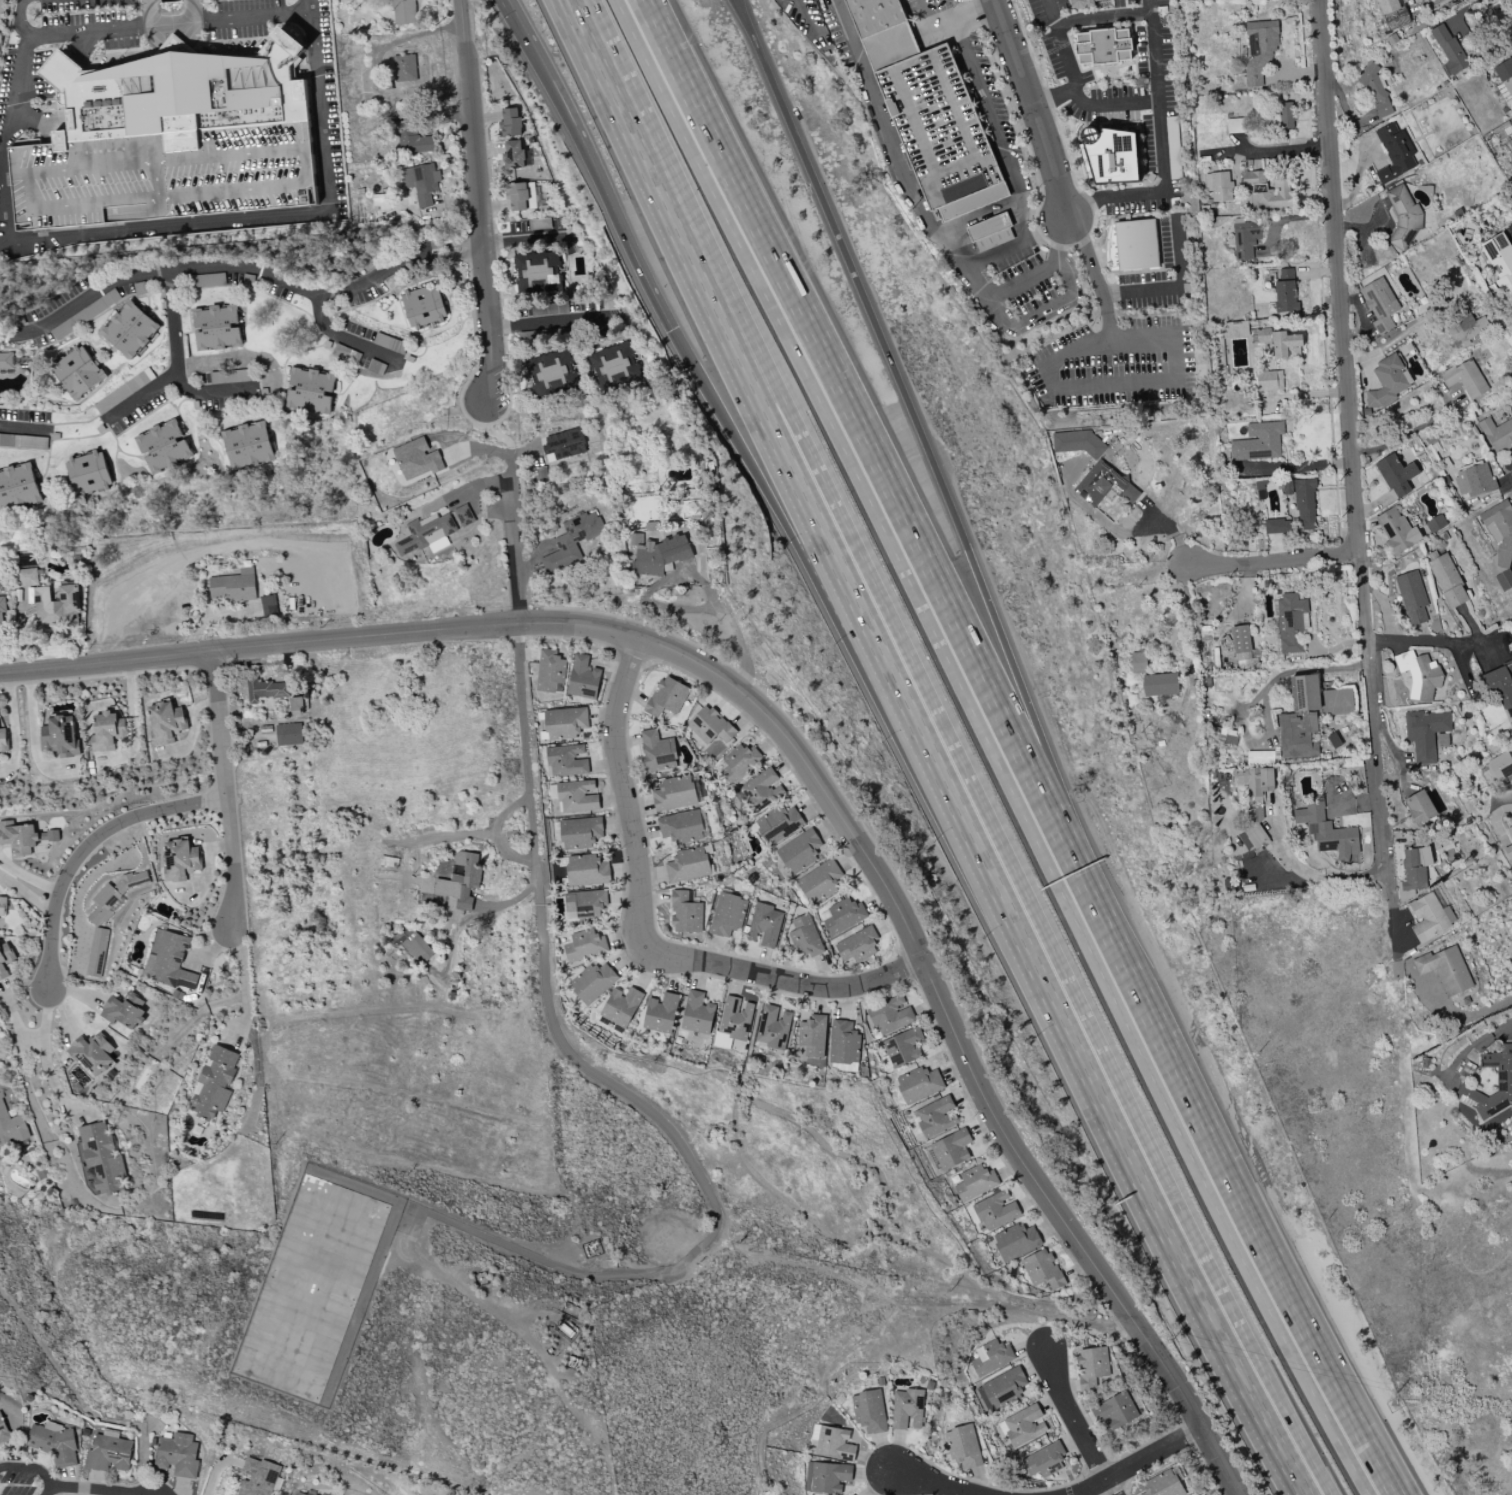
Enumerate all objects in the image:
building: (2, 2)
building: (1081, 3)
parking lot: (74, 4)
road: (307, 7)
road: (498, 8)
building: (403, 11)
road: (950, 11)
building: (1496, 11)
road: (1458, 13)
road: (804, 14)
road: (927, 15)
road: (1100, 15)
road: (18, 19)
road: (190, 22)
road: (150, 23)
road: (940, 27)
building: (879, 32)
building: (1508, 34)
road: (411, 36)
road: (172, 45)
building: (1101, 46)
building: (172, 47)
building: (941, 49)
building: (1258, 50)
building: (1447, 50)
road: (1151, 51)
road: (313, 68)
building: (403, 68)
building: (1504, 75)
road: (1073, 86)
building: (1374, 91)
building: (179, 93)
road: (1050, 94)
road: (1030, 110)
building: (1282, 116)
road: (36, 121)
building: (510, 122)
building: (410, 138)
building: (1393, 153)
building: (514, 155)
building: (1110, 156)
road: (587, 172)
building: (161, 177)
parking lot: (161, 177)
building: (420, 182)
building: (1217, 186)
building: (1266, 190)
road: (1154, 195)
building: (516, 196)
building: (959, 202)
building: (436, 205)
road: (477, 206)
road: (438, 207)
building: (1403, 216)
building: (989, 232)
building: (1243, 238)
road: (520, 239)
building: (1135, 244)
road: (1178, 255)
road: (984, 258)
building: (1499, 259)
road: (239, 266)
road: (1091, 267)
building: (537, 272)
road: (1021, 279)
building: (207, 280)
road: (1140, 291)
building: (1284, 291)
building: (1378, 304)
building: (422, 305)
road: (1041, 309)
building: (84, 314)
road: (550, 322)
building: (216, 327)
building: (1464, 327)
building: (128, 329)
building: (1233, 329)
road: (341, 336)
road: (1394, 338)
building: (1278, 341)
road: (1076, 353)
building: (5, 360)
road: (173, 362)
building: (612, 366)
building: (76, 371)
building: (550, 373)
building: (231, 376)
building: (1464, 378)
road: (1171, 380)
building: (1268, 380)
road: (749, 381)
building: (1386, 382)
building: (123, 390)
building: (309, 391)
road: (212, 392)
road: (904, 398)
road: (857, 401)
road: (22, 428)
building: (1496, 433)
road: (498, 435)
road: (1405, 435)
building: (22, 441)
building: (1074, 442)
building: (1257, 442)
building: (563, 444)
building: (162, 446)
building: (247, 446)
building: (416, 459)
road: (1292, 464)
road: (1351, 469)
building: (88, 474)
building: (1395, 475)
building: (1472, 480)
building: (1103, 485)
building: (17, 487)
building: (1301, 501)
building: (1434, 523)
building: (1273, 525)
building: (433, 531)
building: (1396, 531)
building: (1499, 532)
road: (512, 538)
building: (635, 539)
building: (571, 540)
road: (800, 548)
building: (659, 554)
road: (184, 558)
road: (1270, 561)
building: (1442, 571)
building: (25, 577)
building: (1503, 580)
building: (232, 586)
building: (1453, 596)
building: (1411, 597)
building: (267, 604)
building: (56, 606)
building: (1, 612)
building: (1290, 622)
road: (318, 640)
road: (1431, 641)
building: (1240, 645)
building: (1137, 662)
building: (549, 672)
building: (1418, 674)
building: (582, 678)
building: (1159, 684)
building: (1500, 685)
building: (265, 690)
building: (666, 697)
building: (295, 705)
building: (1307, 715)
building: (165, 722)
building: (564, 723)
building: (709, 725)
building: (106, 731)
building: (1424, 733)
building: (287, 734)
building: (59, 735)
building: (1441, 740)
building: (3, 741)
road: (963, 748)
road: (994, 748)
building: (656, 750)
building: (564, 761)
building: (739, 762)
building: (1498, 768)
building: (1255, 780)
road: (224, 789)
building: (761, 789)
building: (673, 793)
building: (576, 796)
building: (1419, 807)
building: (777, 824)
building: (680, 827)
building: (1252, 830)
building: (1325, 830)
building: (578, 832)
building: (1510, 836)
building: (23, 839)
road: (84, 845)
building: (798, 851)
building: (179, 859)
building: (687, 865)
building: (585, 870)
building: (1412, 871)
road: (1315, 874)
building: (460, 881)
building: (817, 882)
road: (522, 892)
building: (113, 895)
building: (583, 903)
building: (2, 907)
building: (684, 913)
building: (726, 914)
building: (841, 916)
building: (1429, 917)
building: (764, 924)
road: (639, 932)
building: (804, 936)
building: (583, 945)
building: (856, 945)
building: (417, 947)
building: (96, 952)
building: (4, 958)
building: (168, 960)
building: (1444, 969)
building: (590, 983)
road: (243, 984)
road: (940, 1005)
building: (620, 1006)
building: (122, 1010)
building: (659, 1013)
building: (696, 1013)
road: (1468, 1014)
building: (889, 1015)
building: (734, 1018)
building: (772, 1027)
building: (811, 1036)
building: (842, 1042)
road: (1478, 1044)
building: (901, 1047)
building: (91, 1054)
road: (44, 1057)
building: (1503, 1075)
building: (213, 1083)
building: (917, 1084)
road: (616, 1088)
building: (934, 1117)
building: (10, 1128)
road: (1120, 1129)
road: (736, 1144)
building: (950, 1149)
road: (1222, 1153)
road: (838, 1154)
building: (99, 1159)
building: (974, 1182)
building: (994, 1210)
road: (875, 1234)
building: (1014, 1241)
road: (948, 1263)
building: (1041, 1269)
road: (853, 1283)
building: (310, 1288)
road: (1071, 1319)
building: (990, 1357)
building: (1091, 1367)
building: (1002, 1389)
building: (906, 1408)
building: (867, 1411)
building: (1115, 1411)
road: (1072, 1423)
building: (1022, 1426)
building: (2, 1429)
building: (53, 1443)
building: (833, 1444)
building: (961, 1446)
building: (108, 1453)
building: (177, 1455)
building: (1043, 1460)
road: (1214, 1460)
road: (1135, 1461)
road: (33, 1468)
building: (258, 1477)
building: (827, 1477)
road: (935, 1483)
building: (1162, 1484)
road: (82, 1490)
building: (295, 1492)
building: (850, 1494)

